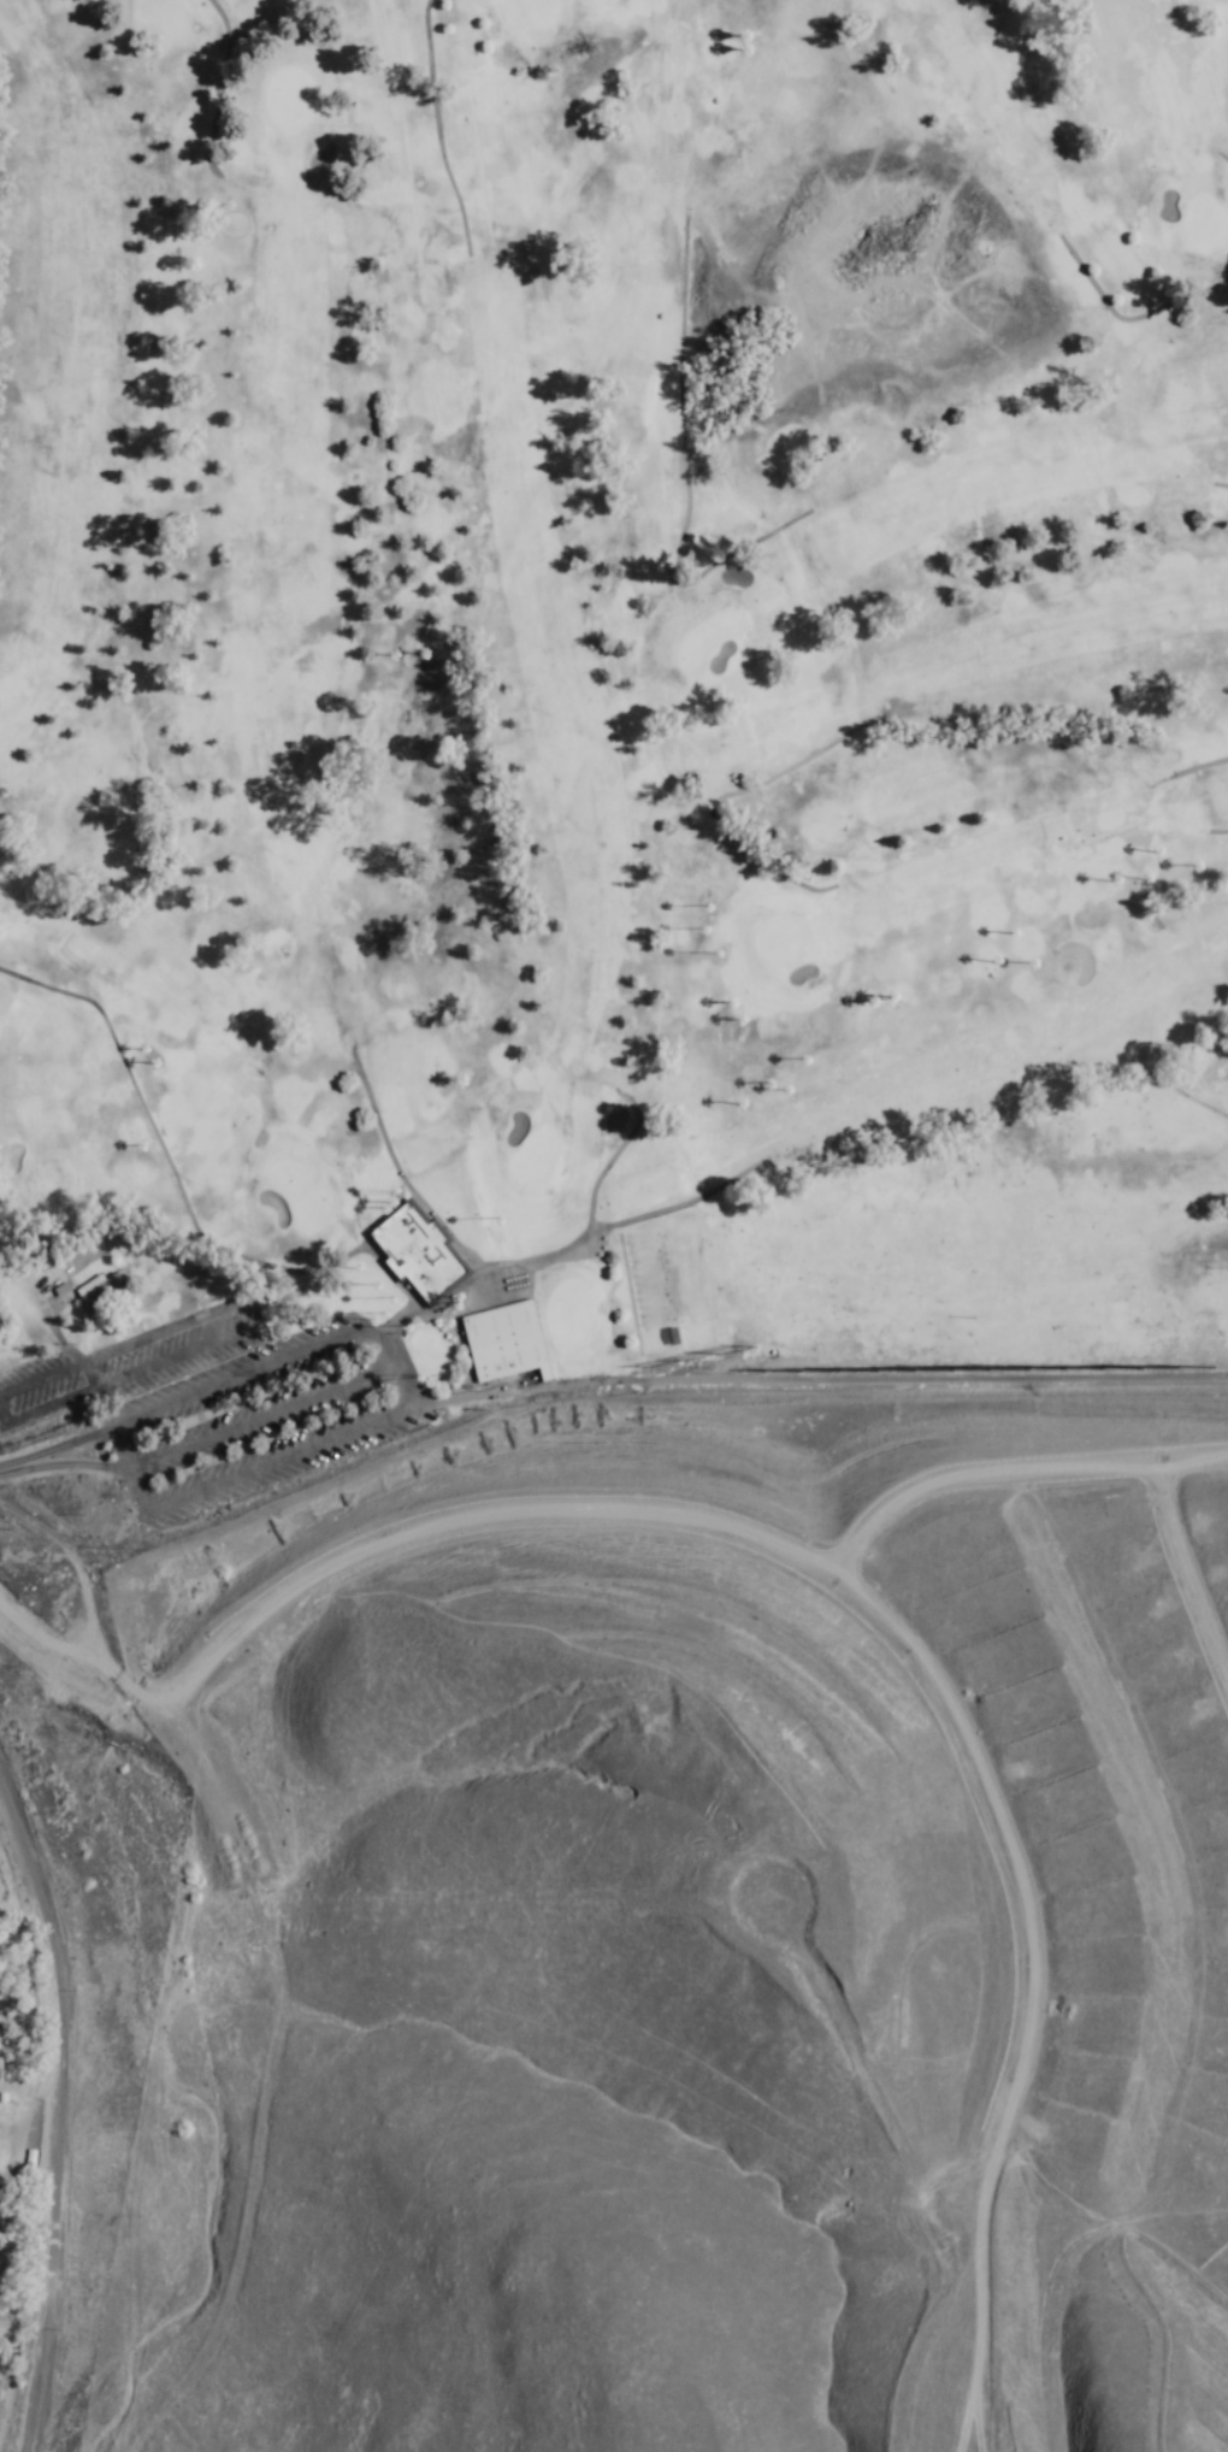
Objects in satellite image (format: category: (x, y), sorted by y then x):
park: (604, 711)
park: (598, 719)
park: (598, 719)
building: (418, 1249)
building: (100, 1287)
building: (67, 1293)
building: (506, 1339)
parking lot: (229, 1395)
road: (386, 1425)
road: (49, 1449)
road: (85, 1605)
road: (46, 1638)

